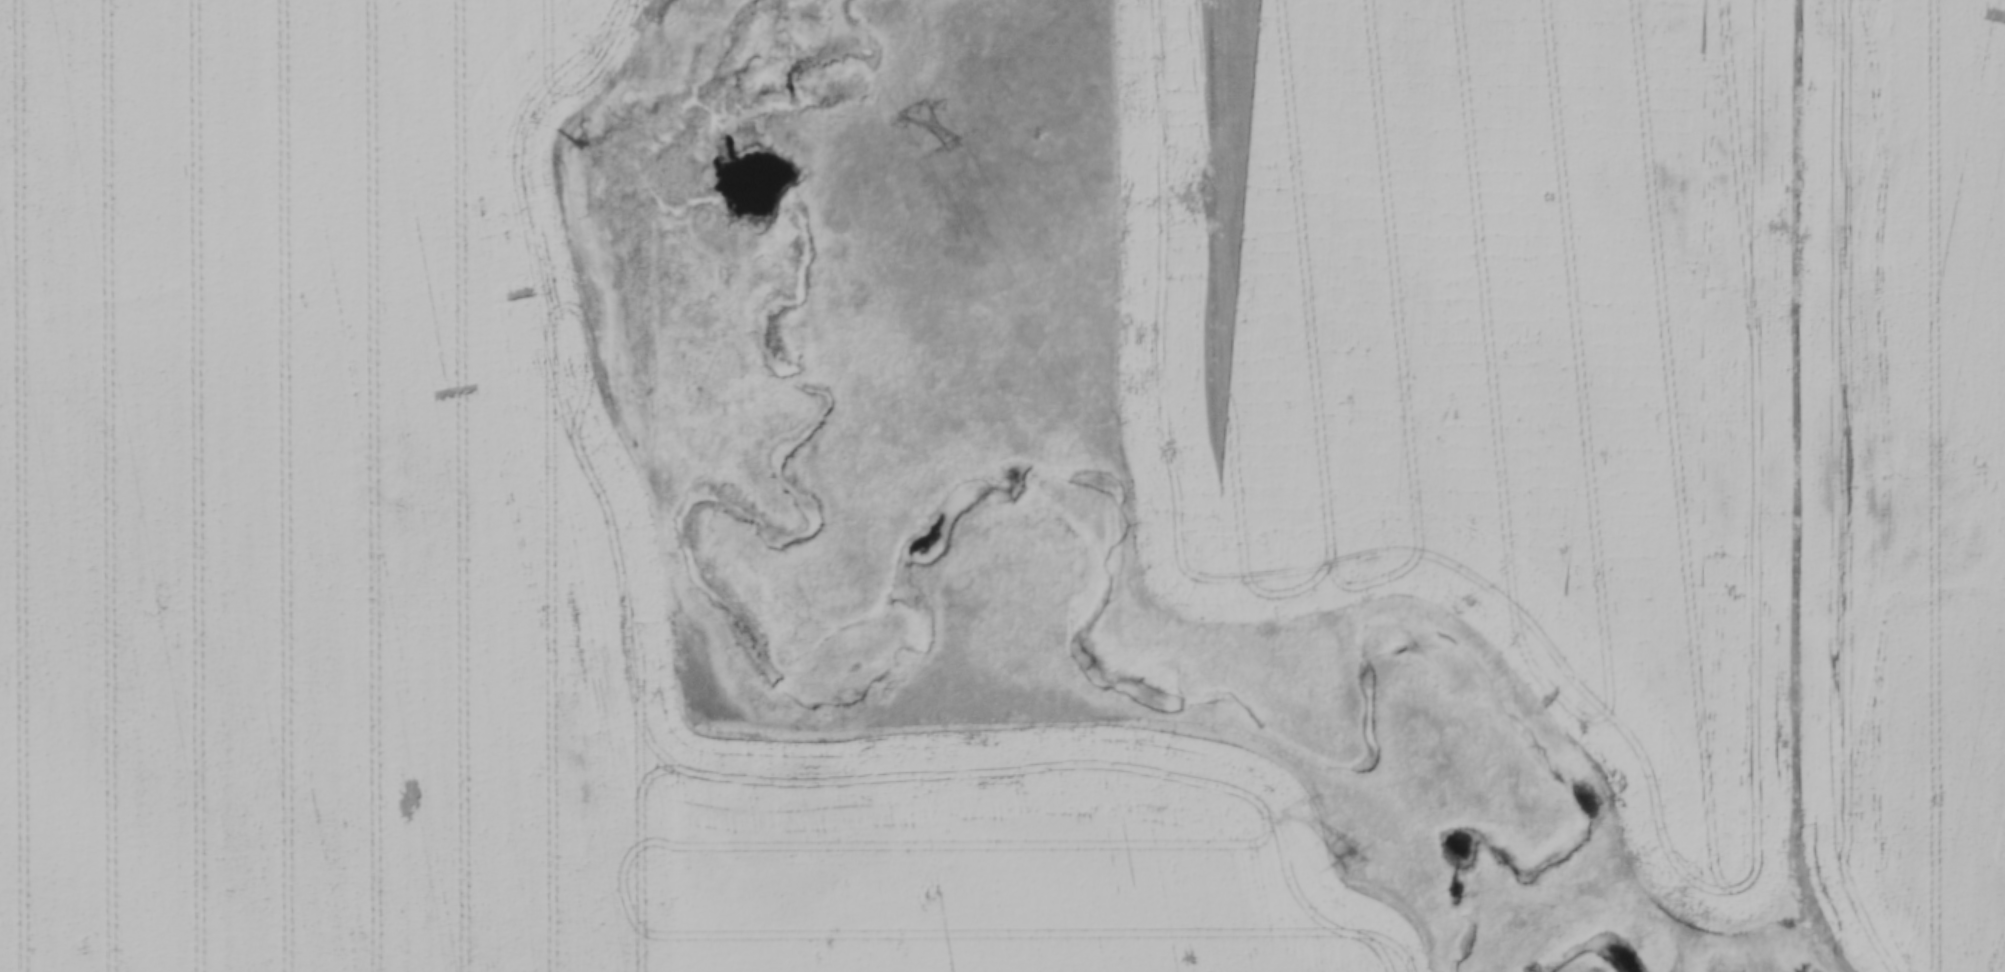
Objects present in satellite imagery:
power tower: (955, 153)
power tower: (1352, 862)

